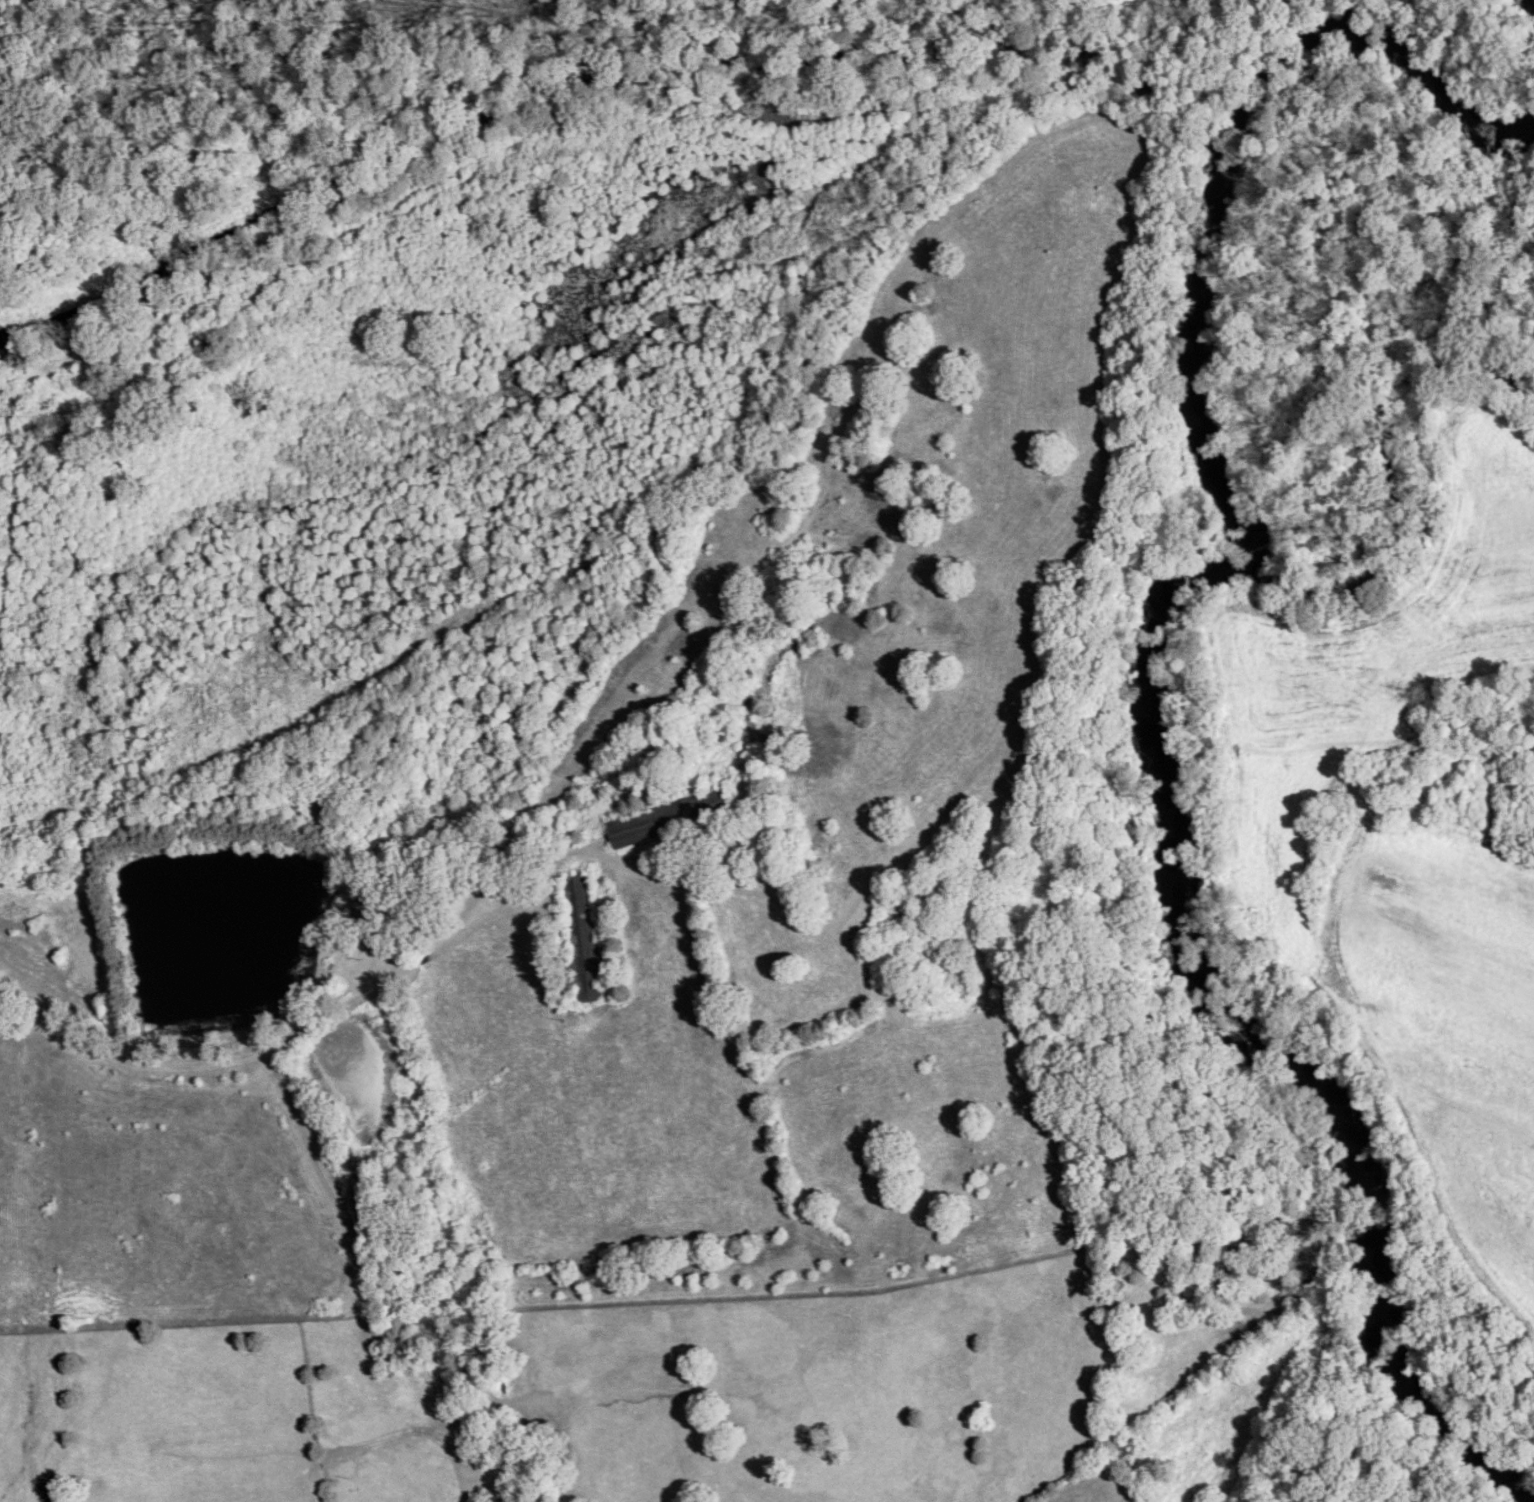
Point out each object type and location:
river: (1397, 436)
building: (639, 828)
building: (897, 908)
road: (321, 1018)
river: (1250, 1023)
road: (393, 1430)

